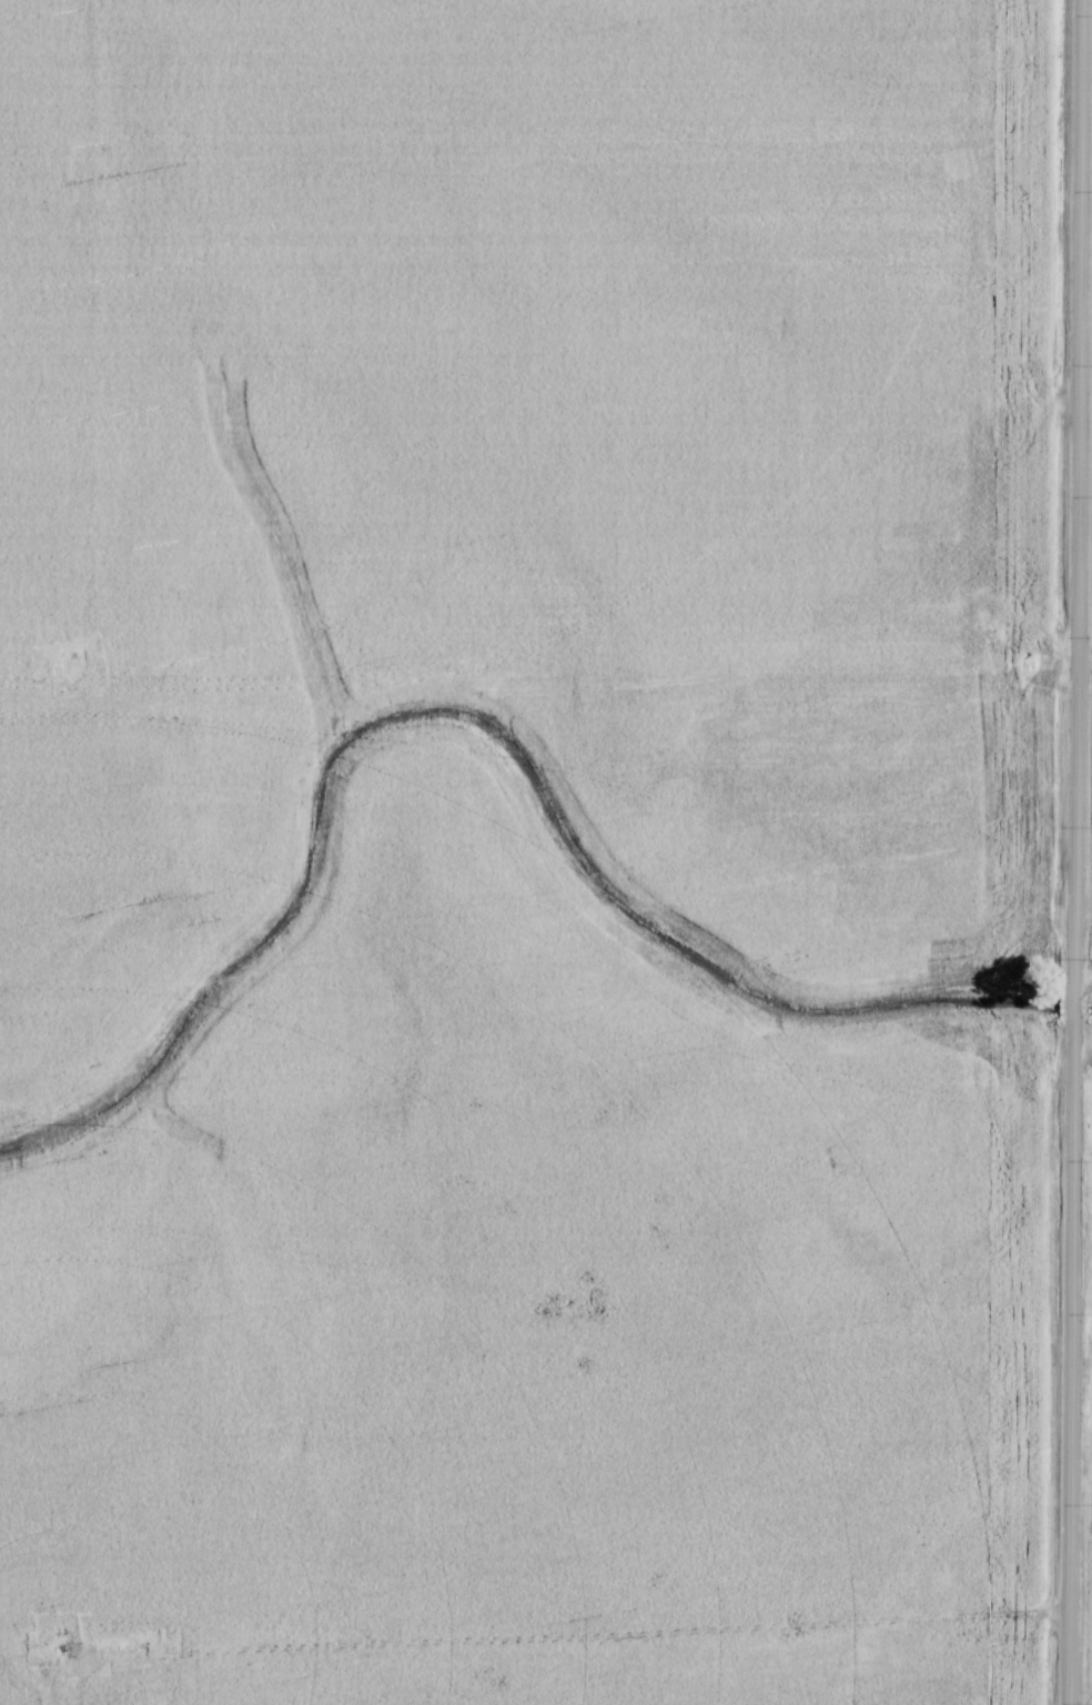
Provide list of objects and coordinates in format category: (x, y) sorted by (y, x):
road: (1075, 852)

